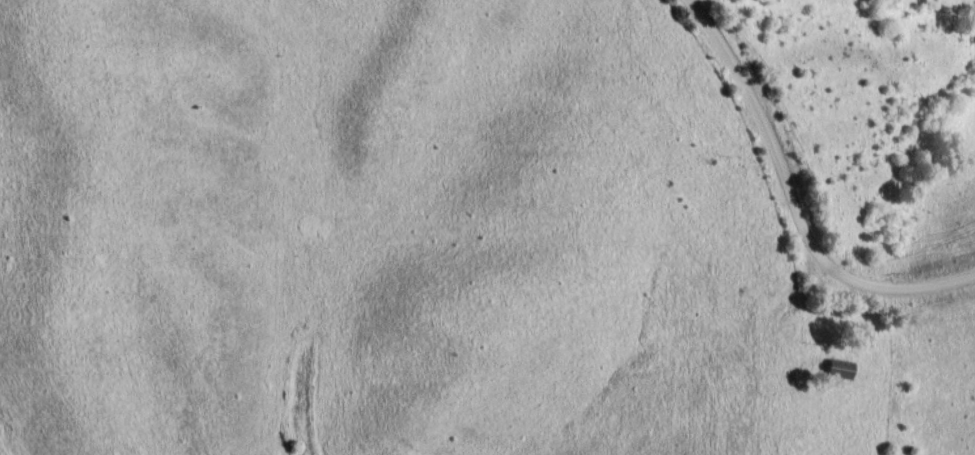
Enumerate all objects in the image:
road: (791, 205)
building: (834, 370)

